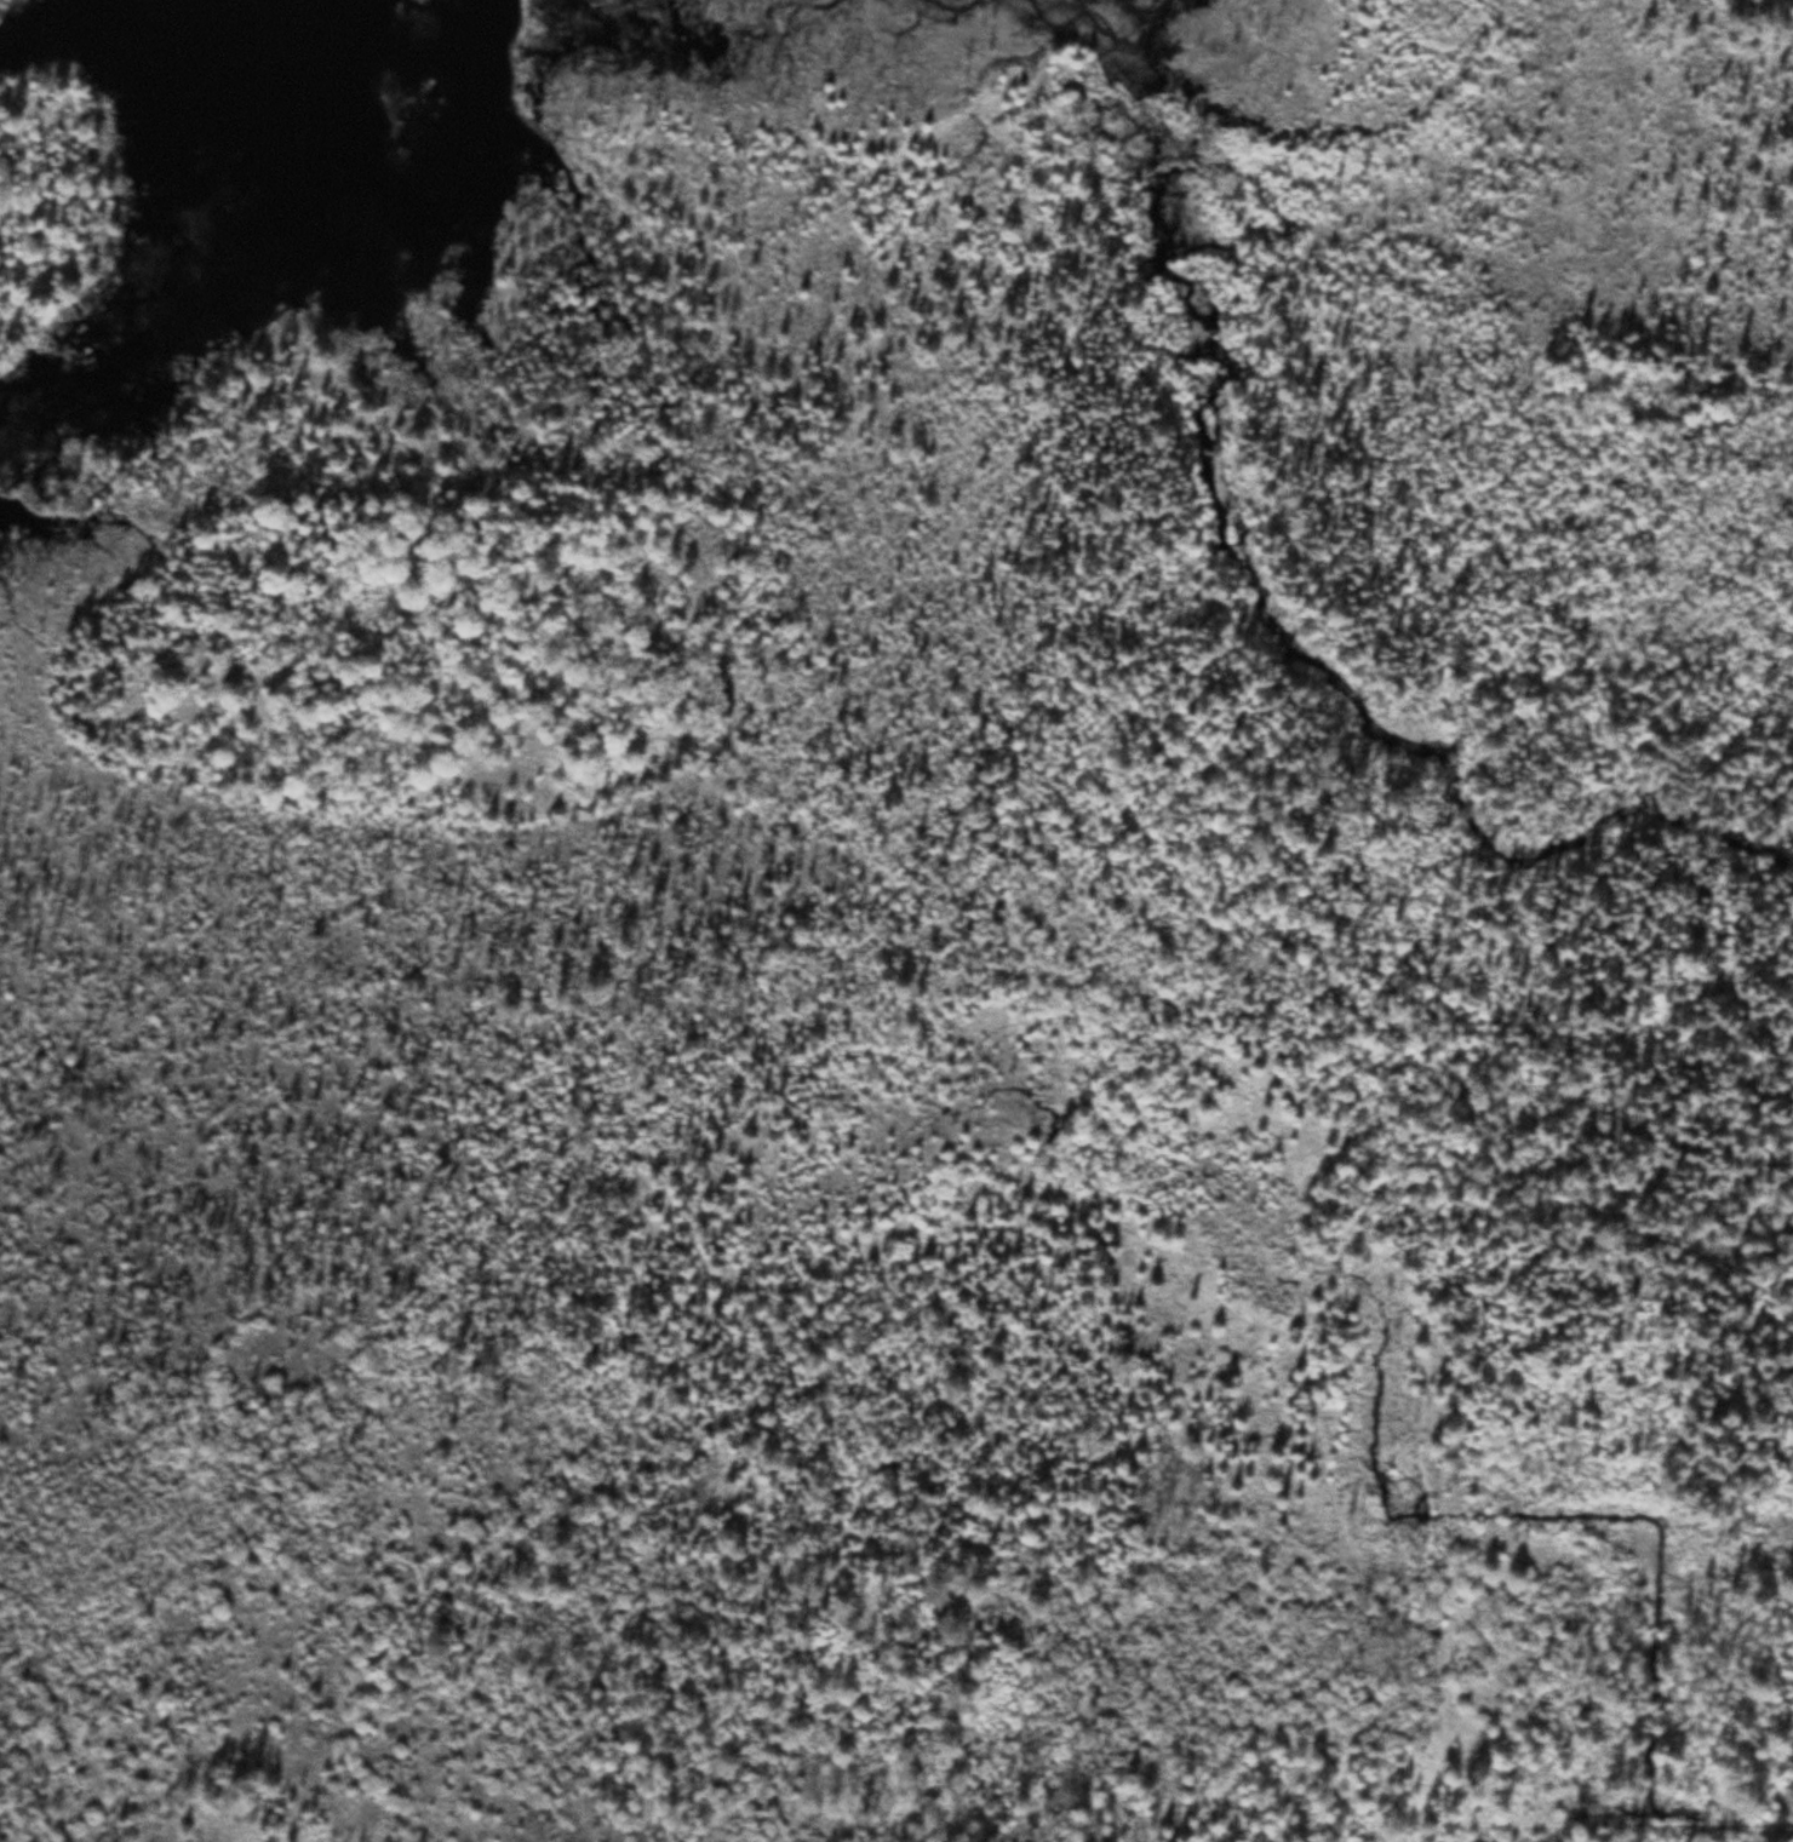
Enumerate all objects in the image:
road: (1671, 1821)

